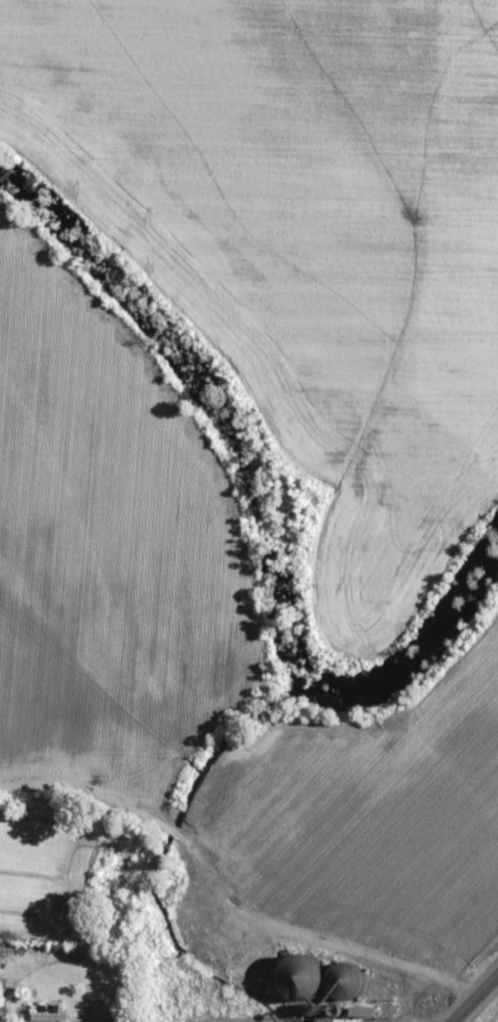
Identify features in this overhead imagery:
road: (478, 1003)
building: (50, 1014)
building: (342, 1020)

